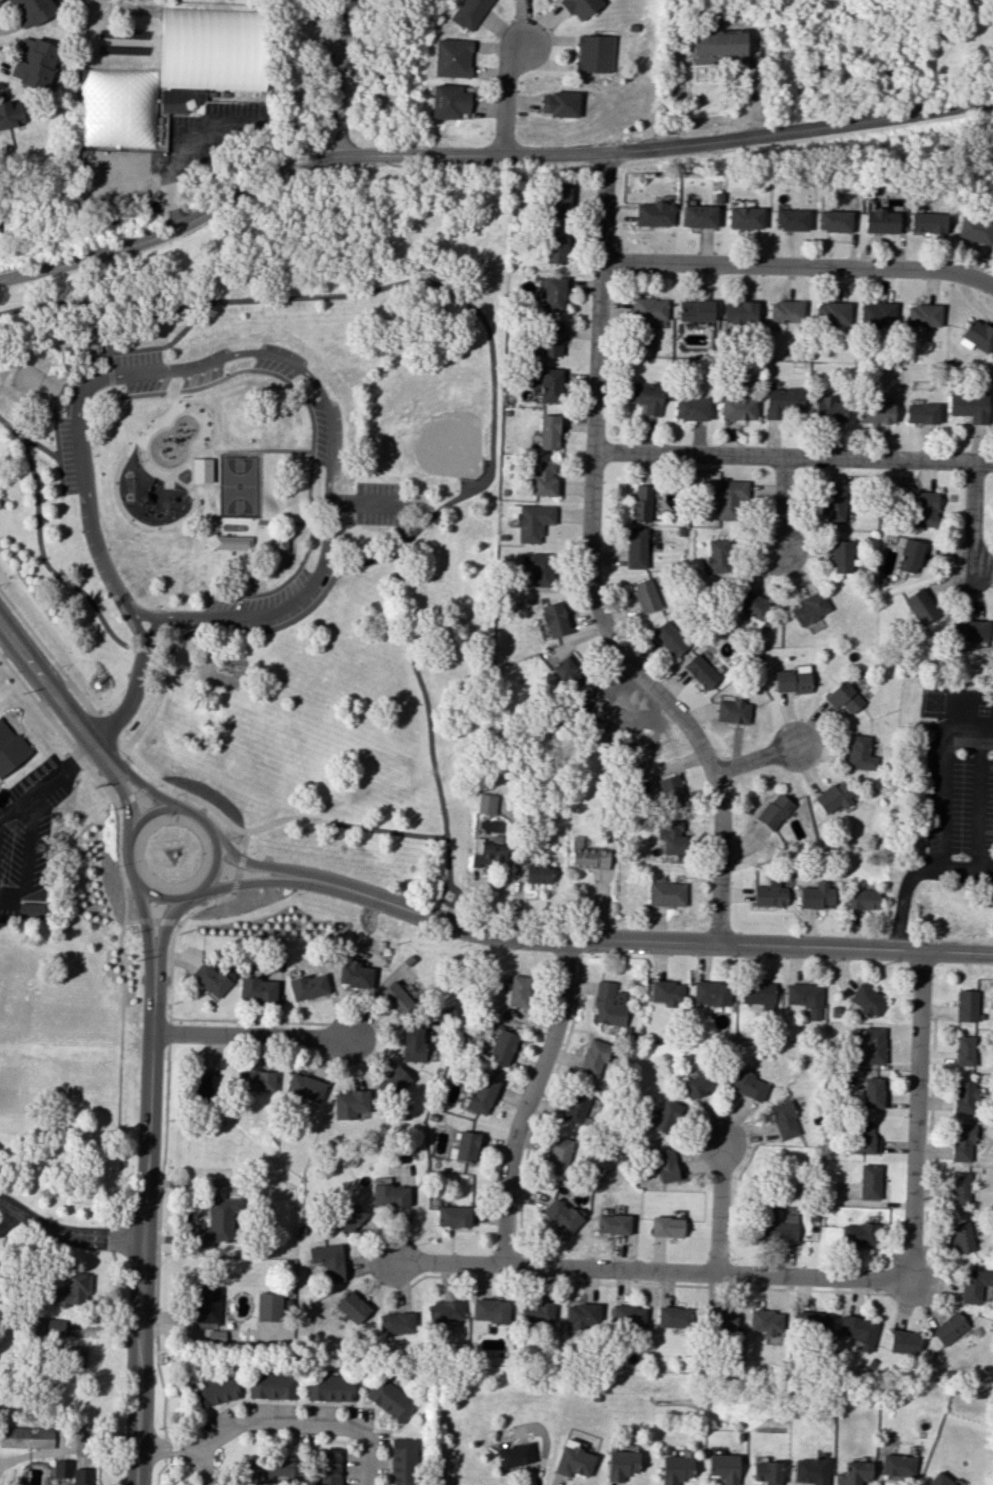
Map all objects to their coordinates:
building: (579, 7)
building: (32, 11)
building: (468, 13)
building: (594, 53)
building: (208, 54)
building: (451, 58)
building: (34, 63)
road: (340, 76)
road: (507, 98)
building: (448, 101)
building: (559, 104)
building: (9, 116)
road: (177, 150)
road: (485, 155)
building: (559, 199)
building: (654, 214)
building: (698, 216)
building: (744, 217)
building: (790, 219)
building: (834, 220)
building: (880, 221)
building: (927, 222)
building: (974, 229)
river: (31, 237)
building: (556, 247)
road: (800, 264)
road: (433, 283)
building: (554, 293)
road: (602, 301)
building: (649, 308)
building: (695, 310)
building: (740, 311)
building: (786, 311)
road: (167, 313)
building: (833, 313)
building: (877, 314)
building: (922, 318)
building: (976, 336)
building: (550, 338)
building: (87, 347)
road: (263, 352)
parking lot: (279, 360)
road: (108, 365)
parking lot: (164, 369)
road: (230, 373)
road: (109, 375)
park: (33, 384)
building: (550, 385)
road: (174, 395)
building: (644, 396)
road: (56, 402)
building: (783, 402)
building: (969, 406)
building: (691, 408)
building: (737, 408)
building: (828, 409)
building: (877, 413)
building: (921, 413)
park: (429, 421)
road: (201, 424)
road: (13, 429)
building: (548, 432)
road: (56, 449)
road: (289, 451)
parking lot: (73, 455)
road: (794, 455)
road: (145, 461)
road: (190, 464)
building: (202, 469)
road: (154, 470)
building: (543, 478)
park: (239, 485)
road: (310, 486)
building: (729, 499)
parking lot: (382, 503)
building: (641, 503)
road: (359, 504)
road: (781, 504)
building: (834, 505)
building: (926, 508)
road: (205, 509)
park: (274, 511)
road: (972, 514)
road: (433, 516)
building: (532, 521)
building: (231, 542)
building: (280, 542)
road: (39, 547)
building: (635, 548)
building: (910, 555)
building: (841, 556)
road: (250, 557)
building: (716, 557)
building: (540, 569)
building: (645, 595)
road: (319, 597)
parking lot: (270, 599)
building: (750, 603)
building: (920, 606)
building: (810, 607)
building: (553, 619)
building: (970, 630)
road: (36, 638)
building: (669, 638)
road: (142, 652)
road: (160, 660)
building: (565, 667)
building: (700, 671)
road: (48, 681)
building: (791, 681)
road: (60, 682)
road: (134, 687)
road: (658, 695)
building: (845, 697)
road: (84, 701)
building: (732, 711)
road: (57, 726)
road: (430, 727)
road: (105, 728)
road: (120, 746)
building: (11, 751)
building: (860, 752)
road: (755, 759)
road: (950, 767)
parking lot: (960, 772)
road: (59, 775)
road: (133, 777)
road: (152, 783)
road: (121, 787)
road: (145, 787)
building: (671, 791)
road: (136, 793)
building: (834, 797)
road: (125, 799)
road: (981, 799)
building: (486, 803)
road: (214, 810)
building: (774, 811)
building: (671, 836)
parking lot: (27, 838)
road: (244, 842)
road: (28, 844)
building: (488, 851)
building: (587, 856)
road: (240, 860)
road: (259, 864)
road: (118, 866)
road: (237, 873)
road: (986, 873)
building: (537, 874)
road: (912, 878)
road: (206, 881)
road: (257, 881)
parking lot: (984, 881)
road: (234, 885)
building: (666, 893)
building: (769, 893)
road: (441, 895)
building: (815, 895)
building: (860, 899)
road: (206, 904)
building: (30, 910)
road: (143, 914)
road: (144, 920)
road: (154, 920)
road: (166, 921)
road: (166, 922)
road: (177, 922)
road: (651, 940)
building: (353, 974)
building: (213, 978)
building: (308, 986)
building: (257, 989)
building: (519, 990)
building: (666, 991)
building: (710, 992)
building: (395, 994)
building: (756, 994)
building: (805, 998)
building: (866, 1000)
building: (609, 1004)
building: (966, 1005)
road: (200, 1018)
road: (248, 1034)
building: (412, 1044)
building: (873, 1045)
building: (501, 1047)
building: (964, 1050)
building: (593, 1057)
road: (121, 1068)
building: (256, 1080)
building: (393, 1081)
building: (699, 1083)
building: (203, 1084)
building: (747, 1085)
building: (305, 1087)
building: (872, 1092)
building: (481, 1094)
building: (963, 1096)
road: (526, 1099)
building: (350, 1104)
building: (575, 1107)
building: (665, 1116)
road: (914, 1116)
building: (784, 1119)
building: (865, 1139)
building: (961, 1142)
building: (464, 1147)
building: (557, 1155)
building: (664, 1165)
building: (869, 1181)
building: (959, 1188)
building: (390, 1196)
road: (719, 1208)
building: (562, 1215)
building: (453, 1216)
building: (347, 1217)
road: (9, 1219)
building: (217, 1221)
building: (612, 1224)
road: (146, 1225)
building: (666, 1226)
building: (775, 1226)
road: (68, 1233)
building: (858, 1234)
building: (960, 1237)
building: (328, 1260)
road: (446, 1262)
road: (706, 1271)
building: (975, 1284)
building: (73, 1290)
building: (208, 1306)
building: (268, 1306)
building: (352, 1307)
building: (490, 1310)
building: (444, 1311)
building: (536, 1312)
building: (582, 1316)
building: (673, 1316)
building: (627, 1317)
building: (722, 1320)
building: (765, 1321)
building: (396, 1322)
building: (813, 1323)
building: (52, 1325)
building: (949, 1328)
building: (857, 1330)
building: (904, 1342)
building: (79, 1355)
building: (271, 1385)
building: (329, 1387)
building: (215, 1390)
building: (389, 1399)
road: (283, 1427)
building: (26, 1436)
road: (168, 1450)
building: (513, 1455)
building: (573, 1459)
building: (402, 1461)
building: (621, 1464)
building: (897, 1465)
building: (326, 1466)
building: (723, 1467)
building: (61, 1468)
building: (675, 1469)
building: (810, 1470)
road: (160, 1471)
building: (270, 1471)
building: (766, 1472)
building: (853, 1473)
building: (82, 1476)
building: (939, 1480)

